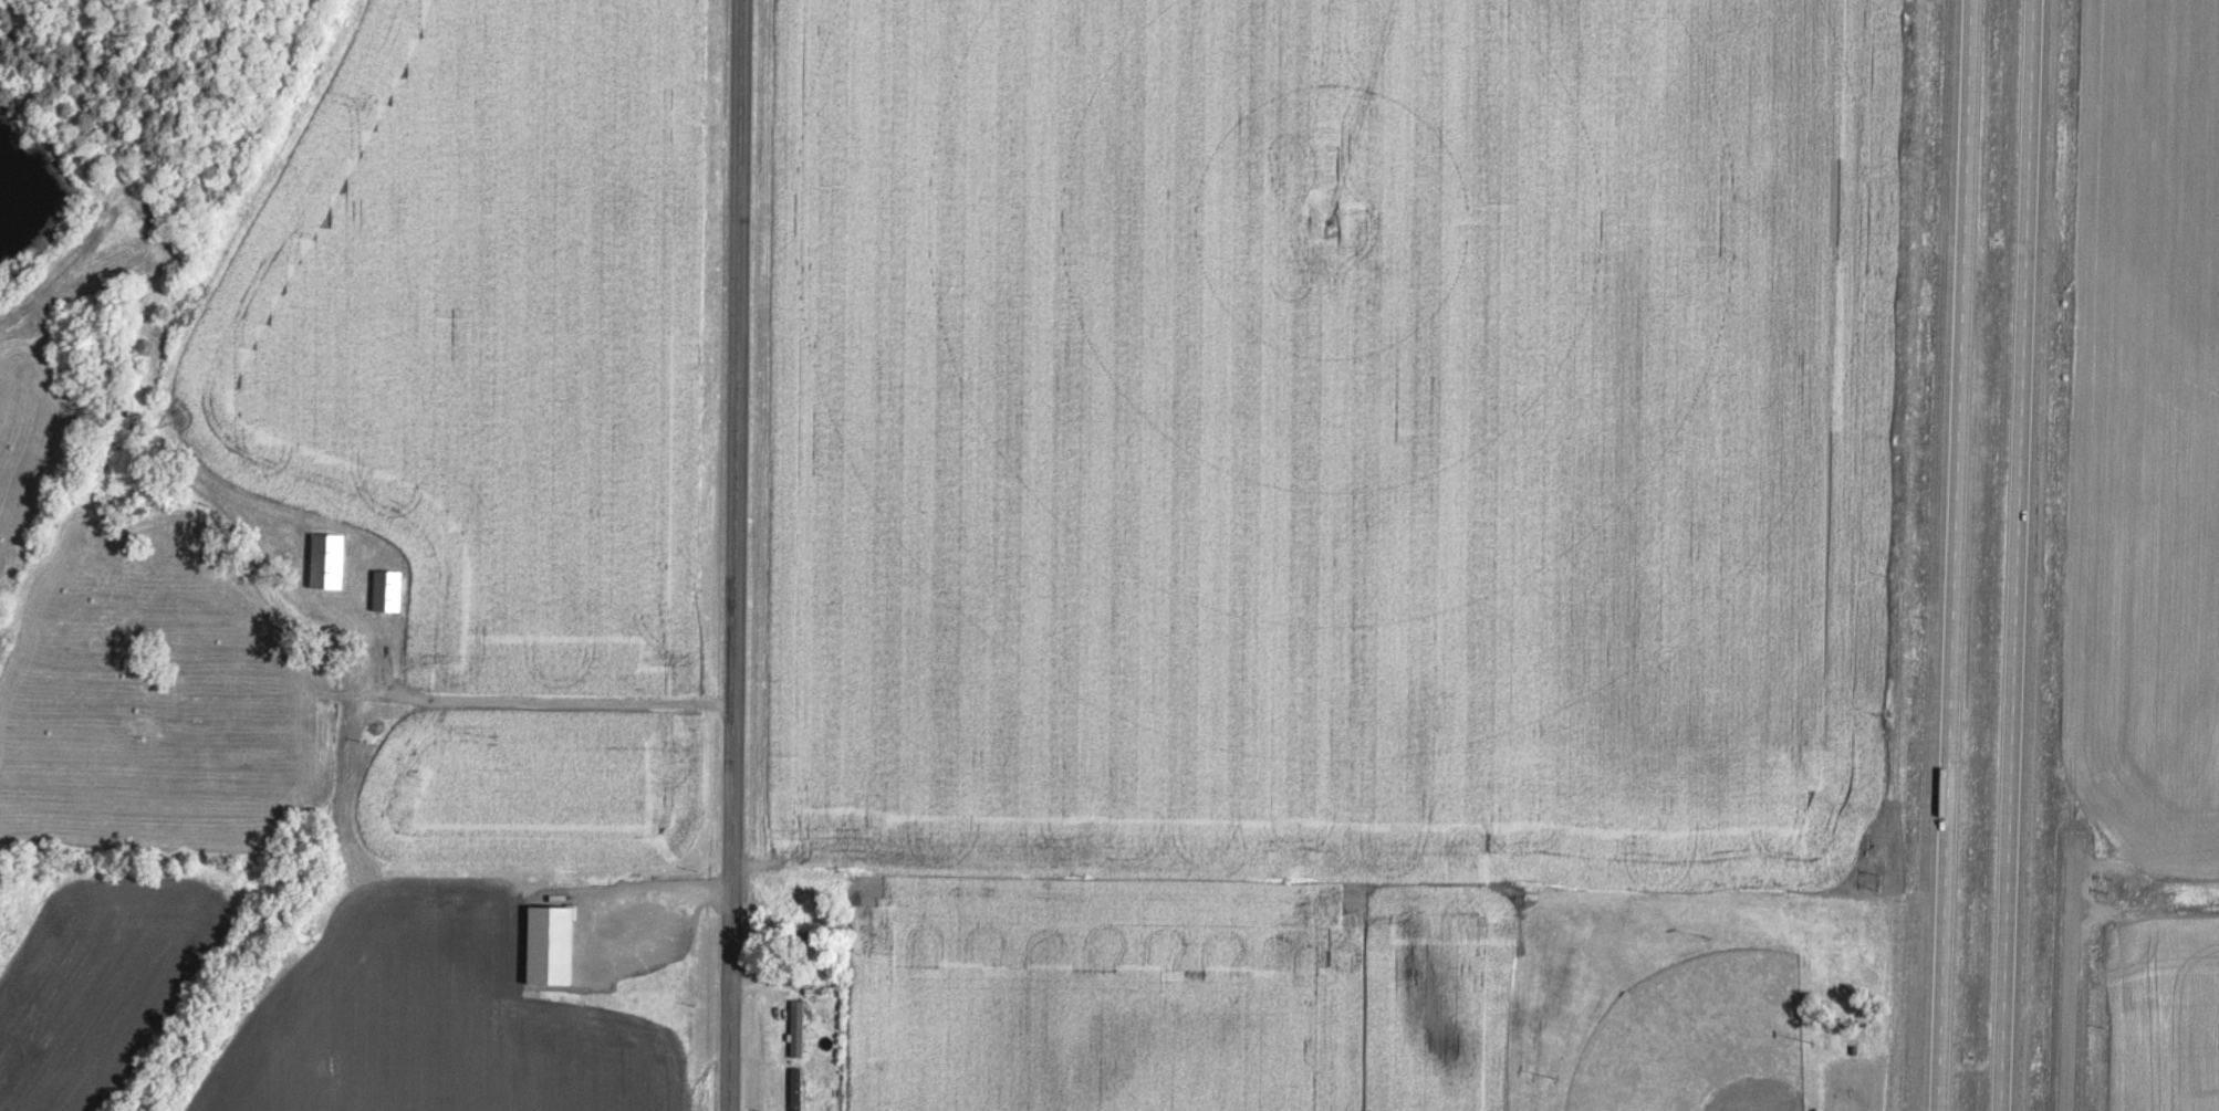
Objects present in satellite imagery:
road: (735, 555)
road: (1961, 555)
road: (2015, 555)
building: (332, 558)
building: (392, 588)
road: (2079, 939)
building: (798, 1026)
park: (1699, 1038)
building: (796, 1088)
road: (1866, 1092)

